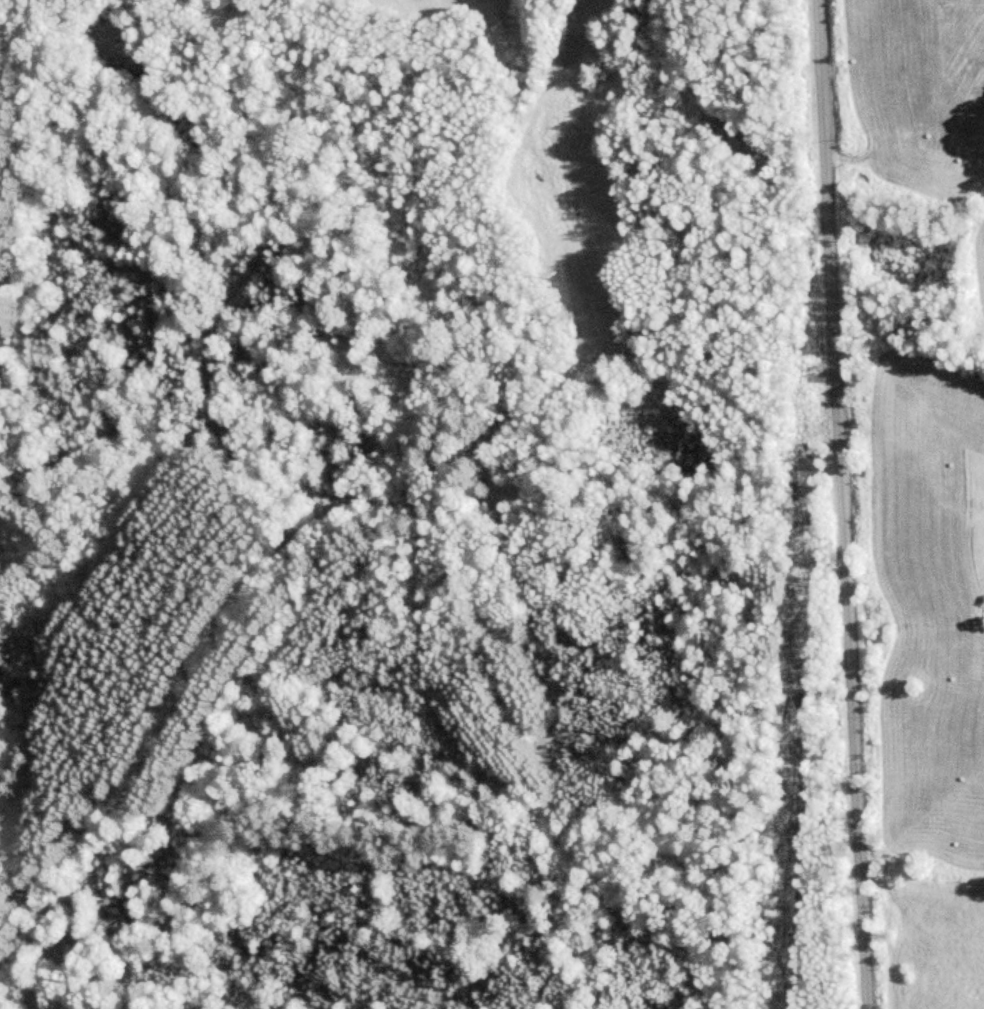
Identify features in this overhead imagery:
road: (840, 504)

